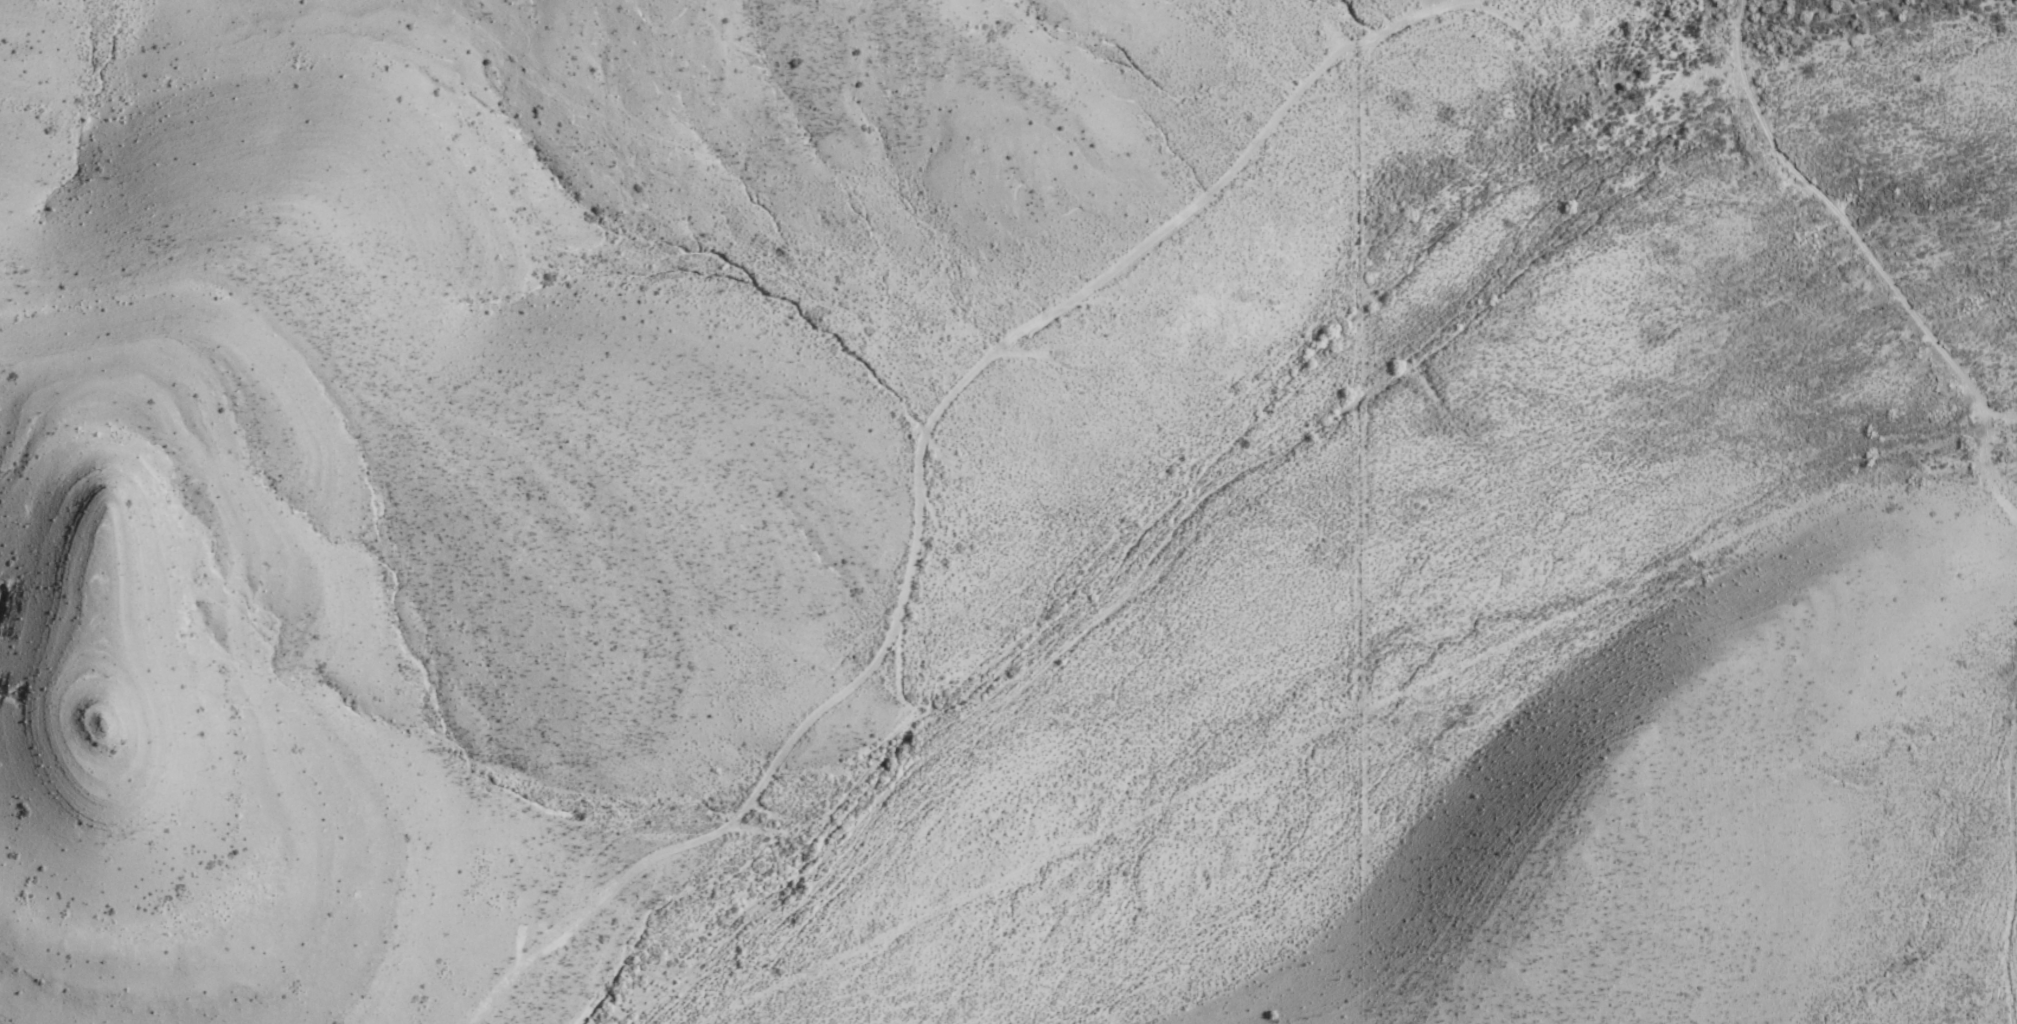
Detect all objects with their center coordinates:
road: (1881, 277)
road: (918, 468)

